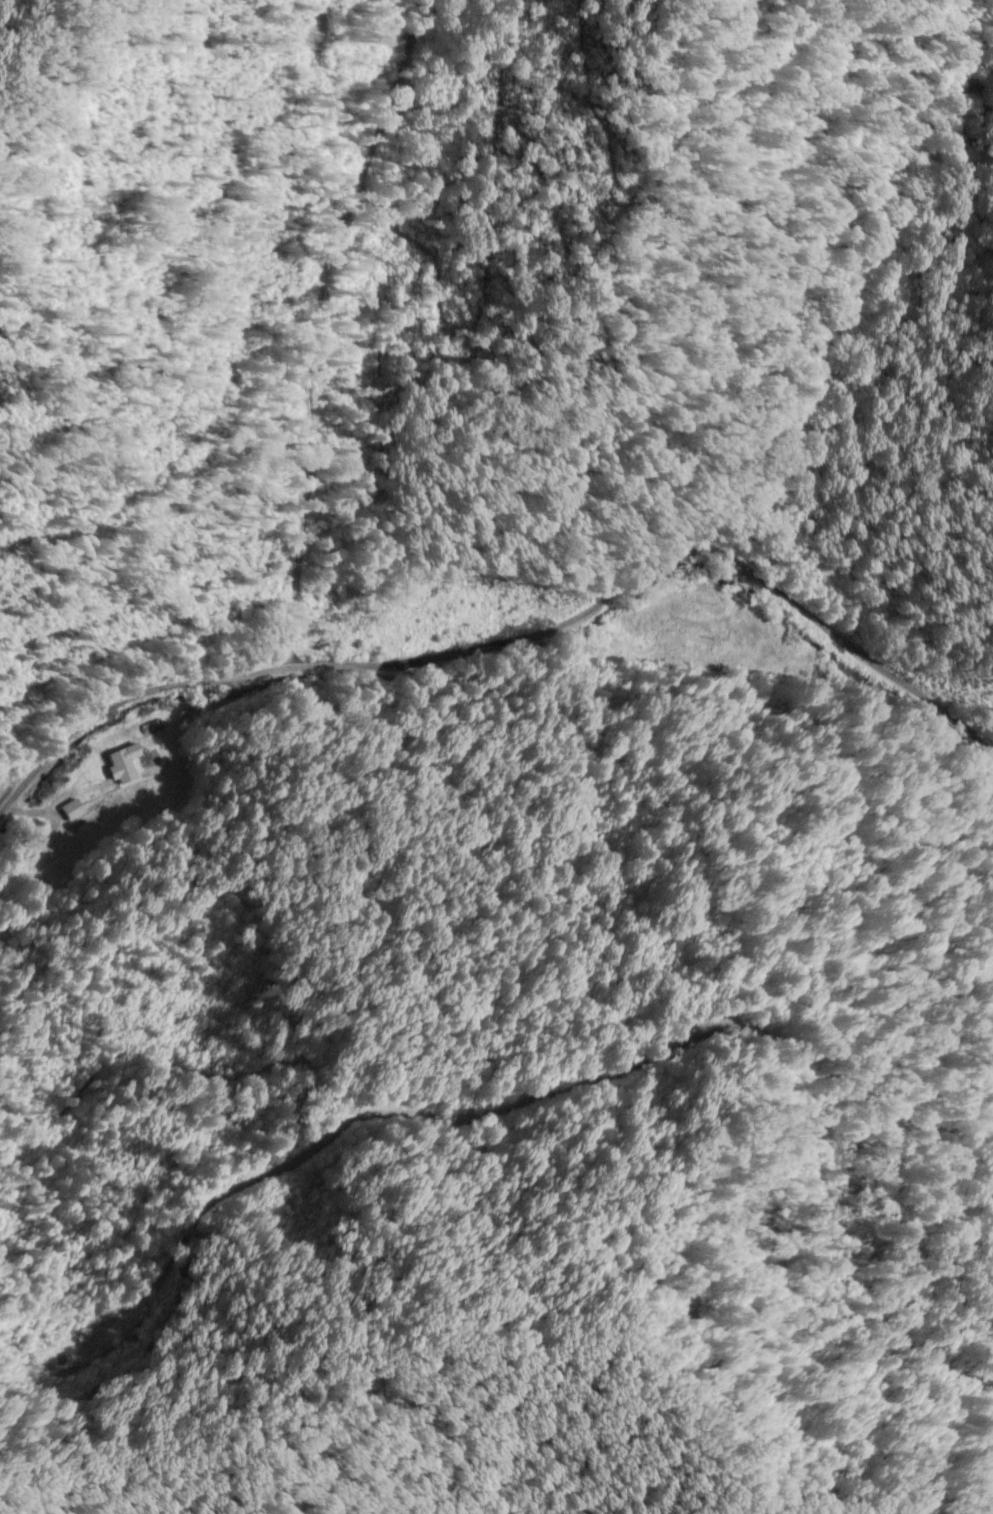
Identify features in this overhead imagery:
road: (314, 419)
road: (516, 638)

